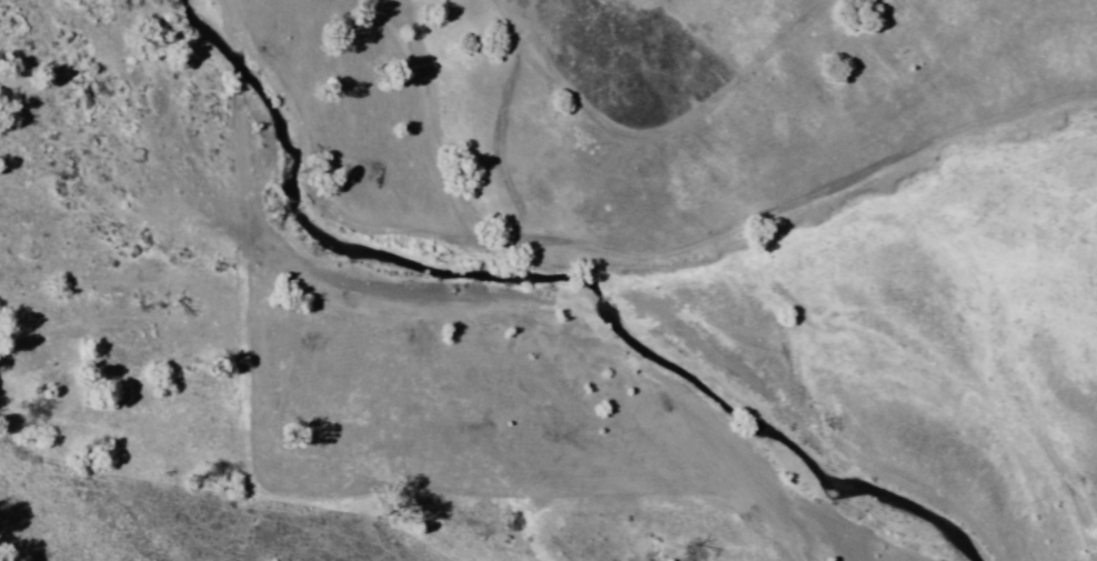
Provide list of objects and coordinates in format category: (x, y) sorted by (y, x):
river: (525, 303)

